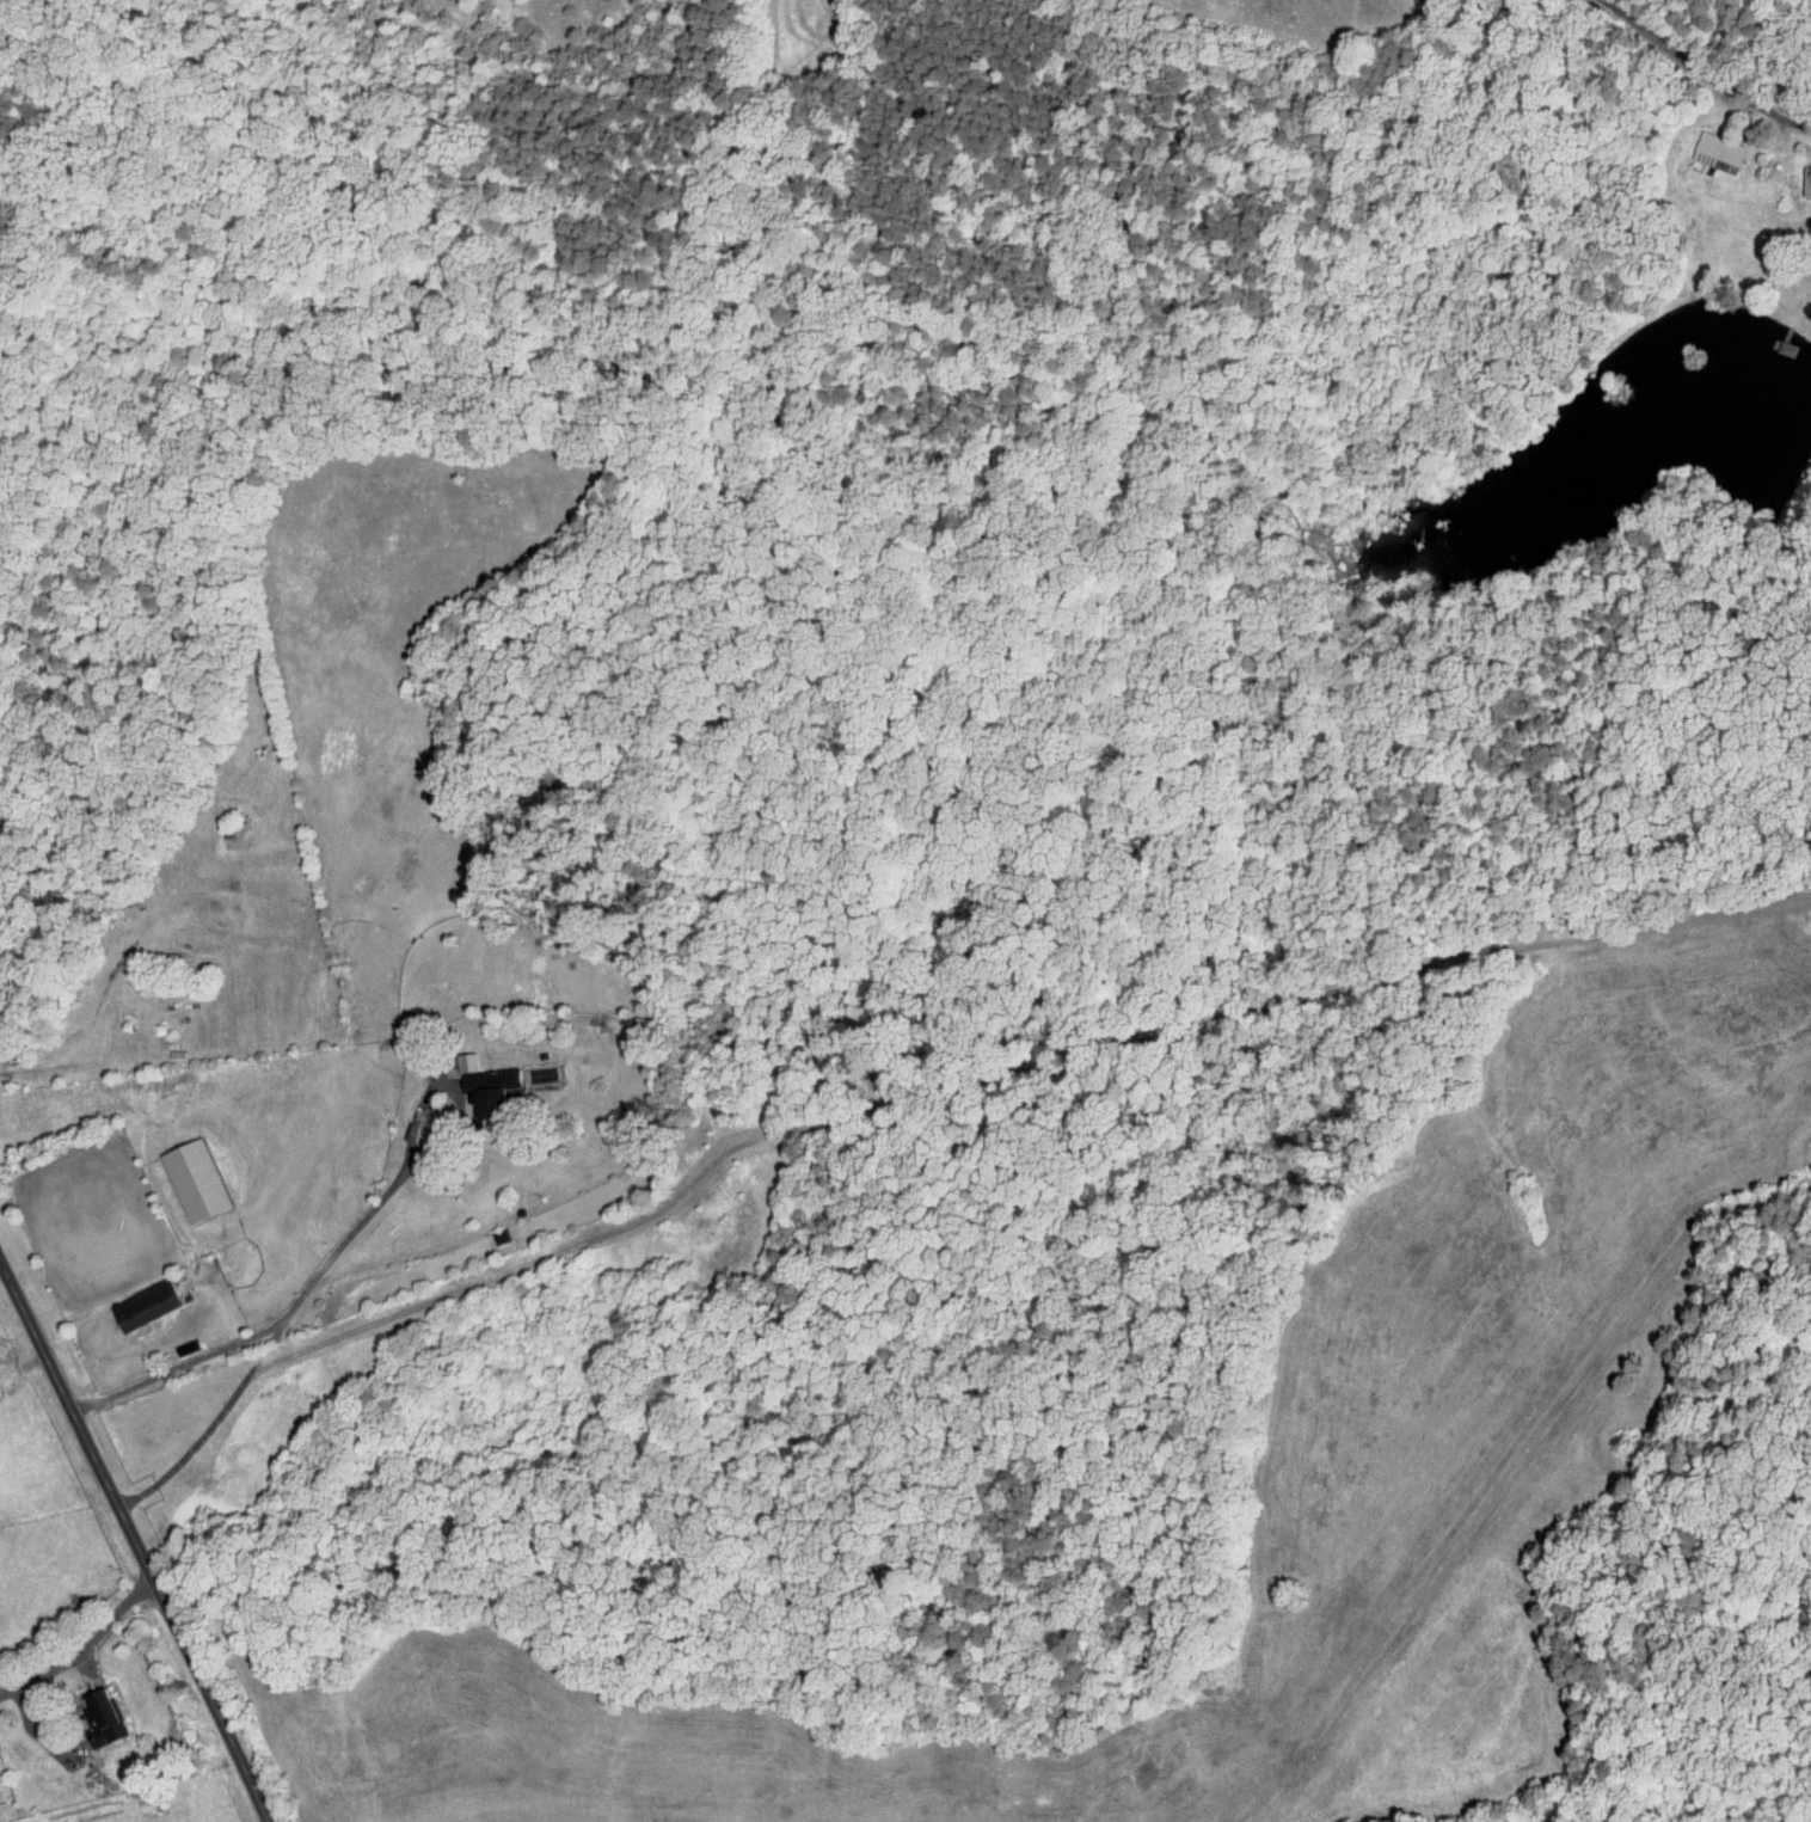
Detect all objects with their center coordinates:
road: (1703, 73)
building: (1718, 152)
building: (1807, 180)
road: (37, 891)
building: (501, 1085)
road: (913, 1093)
building: (197, 1180)
road: (352, 1229)
building: (145, 1305)
road: (178, 1364)
road: (134, 1542)
road: (85, 1646)
building: (102, 1716)

